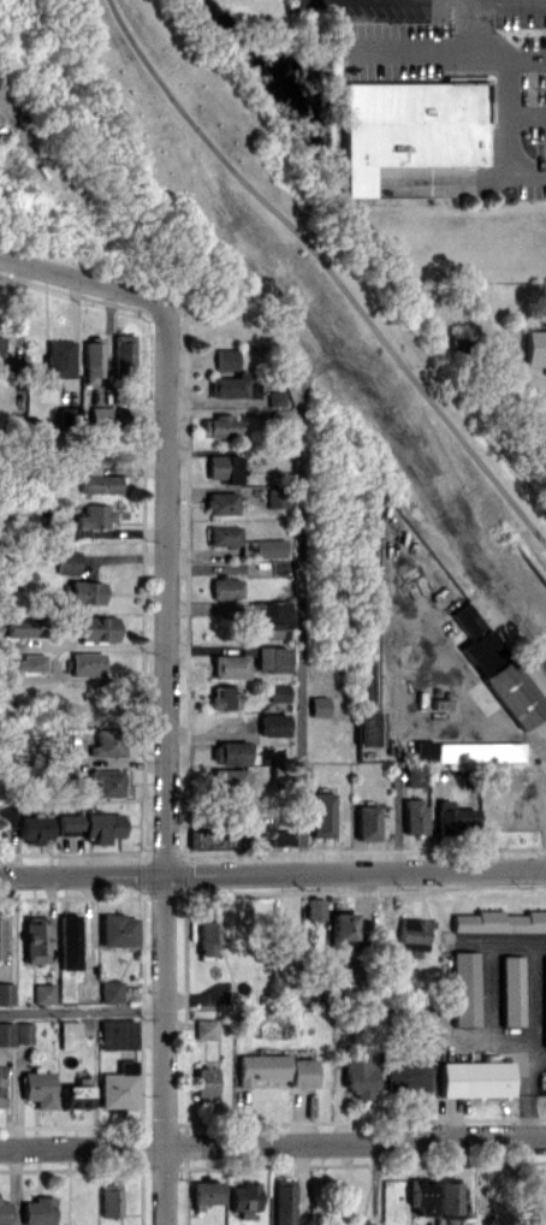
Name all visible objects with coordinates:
road: (474, 23)
road: (497, 53)
road: (526, 60)
road: (526, 112)
building: (411, 126)
building: (0, 128)
road: (332, 273)
road: (83, 277)
building: (0, 343)
building: (535, 345)
building: (121, 351)
building: (59, 359)
building: (225, 359)
building: (90, 360)
building: (227, 385)
building: (274, 397)
building: (99, 416)
building: (120, 416)
building: (280, 416)
building: (219, 426)
building: (222, 467)
building: (96, 480)
building: (275, 497)
building: (220, 502)
building: (95, 515)
building: (222, 534)
building: (366, 535)
building: (247, 548)
building: (268, 548)
building: (66, 561)
building: (225, 587)
building: (84, 591)
building: (272, 617)
building: (23, 626)
building: (93, 626)
road: (301, 640)
building: (269, 658)
building: (30, 662)
building: (87, 663)
building: (227, 665)
building: (497, 668)
building: (277, 691)
building: (367, 692)
building: (222, 697)
building: (317, 705)
building: (272, 723)
building: (107, 741)
building: (423, 750)
building: (479, 751)
building: (229, 752)
road: (544, 758)
road: (162, 763)
building: (415, 775)
building: (227, 780)
building: (106, 781)
building: (321, 813)
building: (7, 815)
building: (414, 815)
building: (456, 819)
building: (366, 822)
building: (89, 825)
building: (34, 827)
building: (279, 836)
building: (212, 839)
road: (272, 871)
building: (313, 909)
building: (499, 921)
building: (117, 929)
building: (340, 929)
building: (208, 931)
building: (411, 934)
building: (0, 940)
building: (34, 940)
building: (67, 941)
building: (462, 988)
building: (510, 989)
building: (109, 990)
building: (6, 993)
building: (42, 993)
building: (544, 1002)
road: (82, 1010)
building: (204, 1028)
building: (23, 1031)
building: (6, 1032)
building: (67, 1034)
building: (117, 1034)
building: (0, 1058)
building: (274, 1069)
building: (406, 1072)
building: (358, 1076)
building: (474, 1078)
building: (545, 1079)
building: (204, 1081)
building: (118, 1085)
building: (37, 1087)
building: (76, 1096)
road: (273, 1144)
building: (204, 1190)
building: (420, 1196)
building: (538, 1197)
building: (242, 1199)
building: (109, 1200)
building: (449, 1200)
building: (281, 1201)
building: (37, 1211)
building: (4, 1212)

